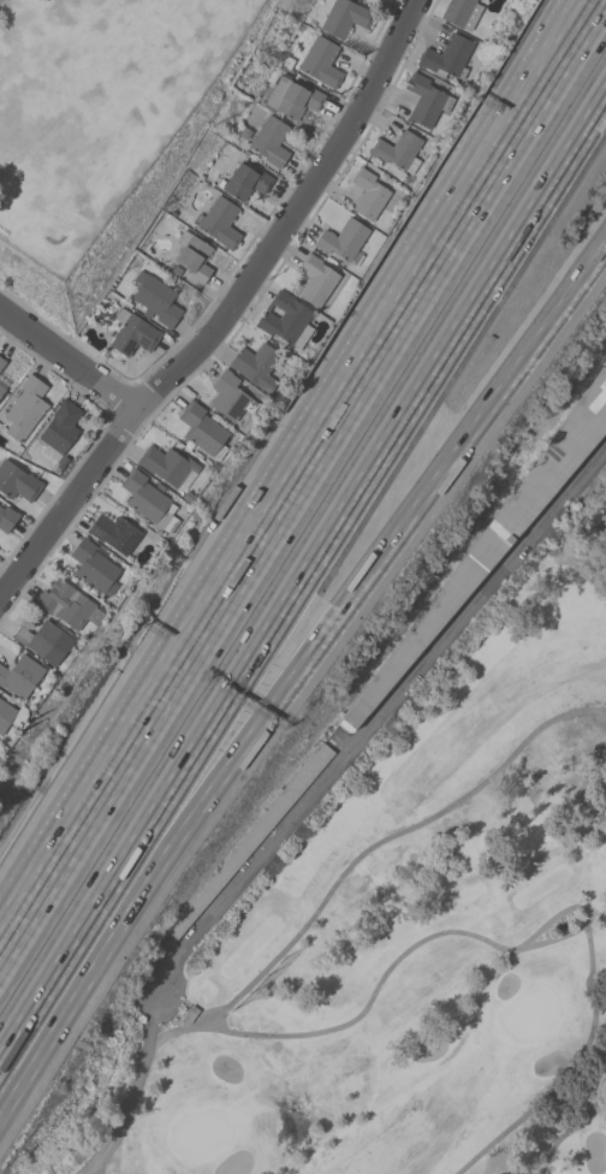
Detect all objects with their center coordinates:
building: (362, 0)
building: (462, 13)
building: (343, 17)
building: (447, 58)
building: (321, 63)
building: (287, 99)
building: (427, 101)
building: (266, 140)
building: (398, 152)
road: (474, 179)
building: (246, 182)
road: (489, 183)
building: (369, 194)
building: (219, 223)
building: (344, 241)
building: (194, 256)
building: (316, 279)
building: (156, 300)
road: (226, 313)
building: (286, 320)
building: (133, 333)
road: (67, 362)
building: (1, 363)
building: (256, 366)
building: (2, 385)
building: (230, 397)
building: (25, 409)
building: (59, 431)
building: (203, 431)
building: (166, 464)
building: (17, 482)
building: (149, 502)
building: (7, 518)
building: (114, 533)
building: (494, 538)
building: (94, 565)
road: (303, 583)
building: (67, 605)
building: (44, 641)
road: (186, 656)
road: (302, 668)
building: (20, 676)
road: (392, 696)
building: (11, 716)
building: (255, 835)
road: (184, 1031)
road: (236, 1034)
road: (593, 1072)
road: (133, 1089)
road: (518, 1122)
road: (568, 1131)

